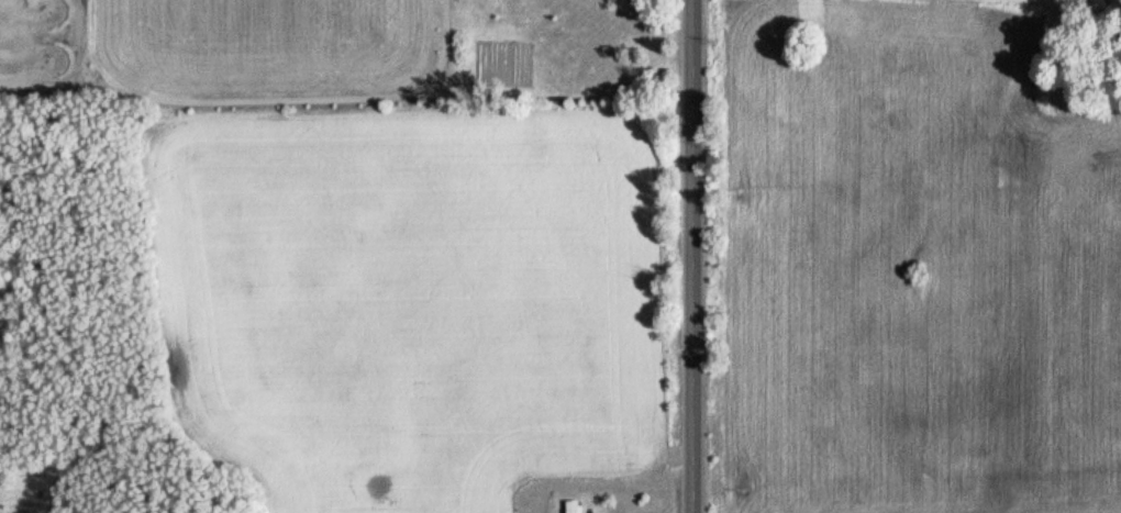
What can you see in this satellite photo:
road: (697, 256)
building: (570, 506)

